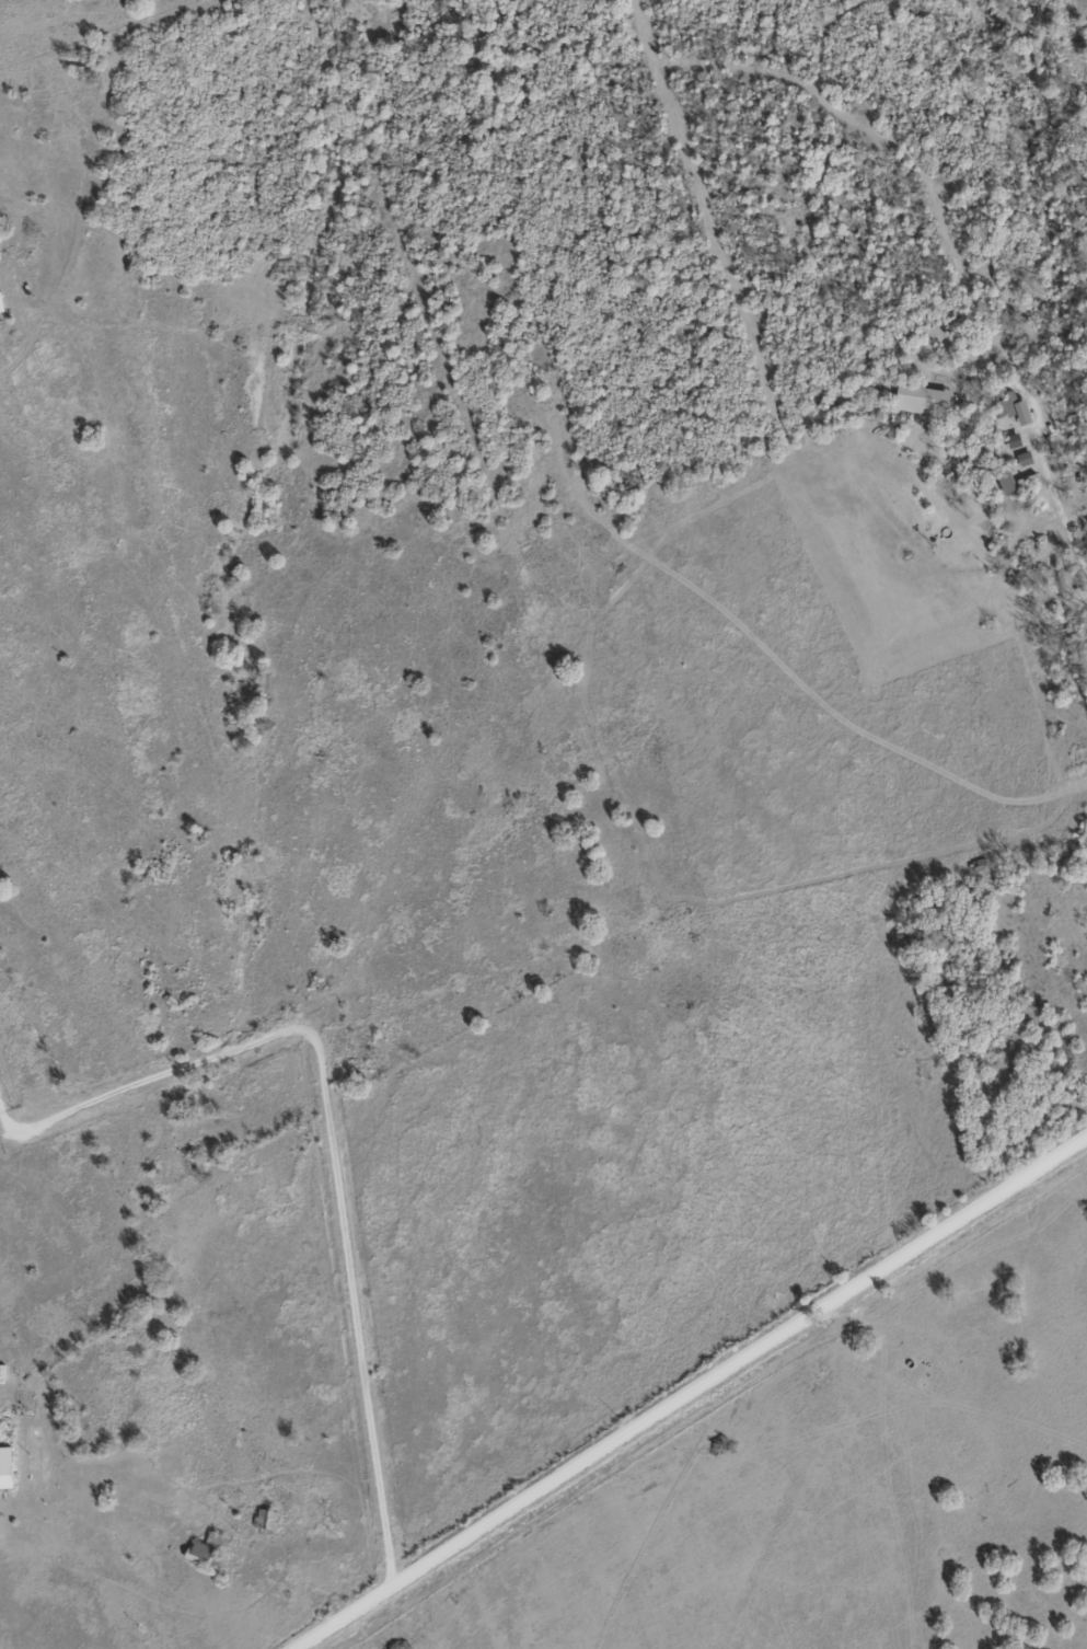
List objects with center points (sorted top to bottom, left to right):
building: (0, 310)
building: (920, 400)
building: (1005, 482)
building: (979, 864)
road: (245, 1345)
road: (686, 1386)
road: (99, 1454)
building: (4, 1468)
building: (264, 1519)
building: (204, 1548)

